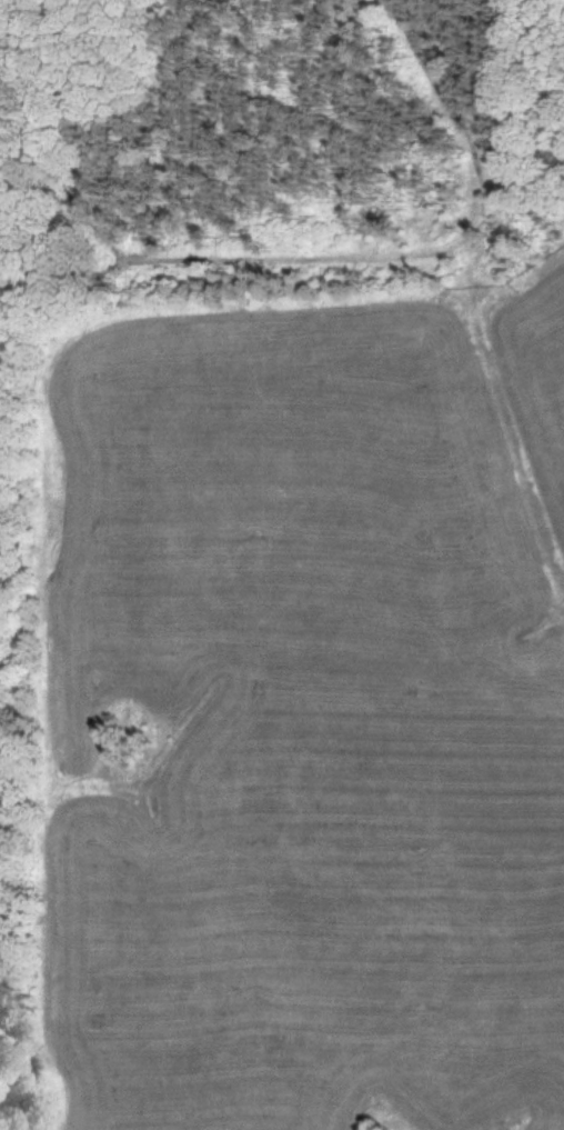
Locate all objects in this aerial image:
road: (60, 14)
road: (437, 111)
park: (252, 181)
road: (283, 259)
landfill: (294, 727)

